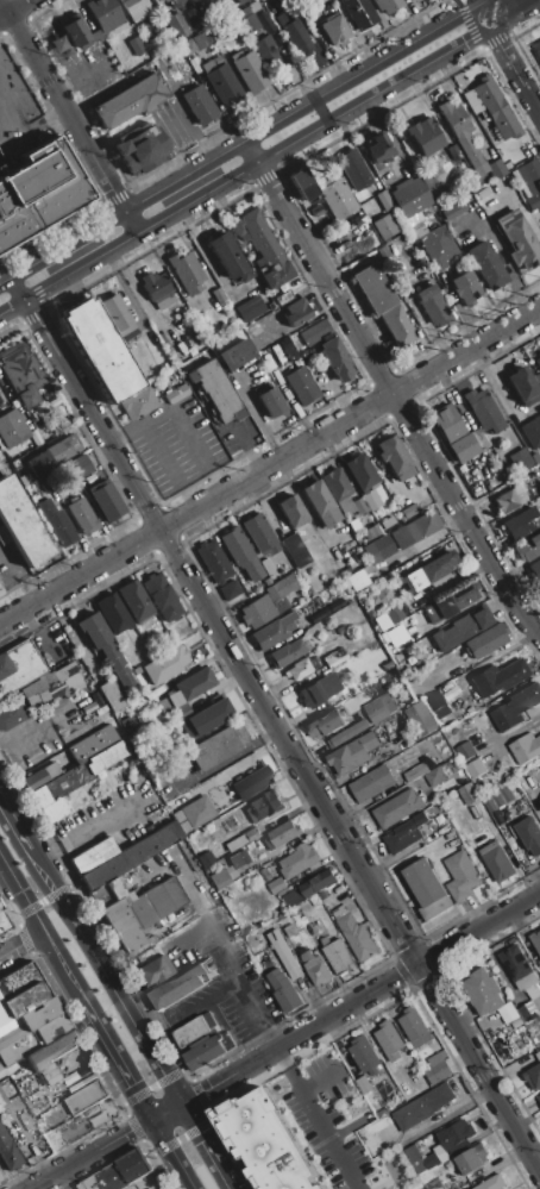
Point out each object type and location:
building: (241, 1)
building: (159, 2)
road: (498, 2)
building: (184, 4)
building: (390, 5)
building: (134, 8)
road: (18, 10)
building: (359, 13)
building: (103, 14)
building: (246, 20)
building: (177, 25)
building: (334, 31)
building: (76, 33)
building: (296, 38)
building: (196, 39)
building: (58, 46)
building: (136, 46)
building: (189, 46)
building: (538, 50)
building: (269, 52)
road: (509, 62)
building: (250, 73)
building: (221, 81)
building: (130, 101)
building: (199, 105)
building: (496, 108)
road: (68, 109)
building: (459, 132)
building: (425, 137)
building: (140, 149)
road: (253, 149)
building: (378, 150)
building: (490, 154)
building: (353, 169)
building: (495, 169)
building: (528, 182)
building: (302, 184)
building: (38, 192)
building: (337, 198)
building: (384, 200)
building: (412, 200)
building: (384, 226)
building: (517, 240)
building: (437, 244)
building: (264, 249)
building: (227, 258)
road: (504, 259)
building: (485, 265)
building: (186, 273)
building: (466, 287)
building: (157, 289)
building: (218, 296)
building: (382, 306)
building: (432, 307)
building: (250, 308)
building: (296, 313)
road: (417, 313)
building: (115, 315)
building: (314, 332)
building: (99, 350)
building: (287, 350)
building: (236, 355)
building: (334, 359)
building: (538, 362)
building: (21, 374)
building: (522, 386)
building: (301, 387)
road: (332, 389)
building: (215, 390)
road: (389, 393)
building: (176, 394)
road: (500, 395)
building: (270, 403)
building: (138, 405)
building: (483, 411)
road: (155, 419)
building: (12, 430)
building: (532, 432)
building: (453, 433)
road: (249, 445)
building: (65, 448)
building: (394, 456)
building: (535, 458)
building: (520, 459)
road: (269, 462)
building: (37, 465)
building: (79, 467)
building: (360, 473)
building: (24, 481)
building: (343, 495)
building: (510, 499)
building: (105, 500)
building: (319, 505)
building: (290, 511)
building: (409, 512)
building: (81, 515)
building: (521, 521)
building: (56, 524)
building: (387, 524)
building: (20, 525)
building: (371, 532)
building: (260, 534)
building: (402, 537)
building: (527, 549)
building: (296, 551)
building: (240, 555)
building: (538, 567)
building: (268, 568)
building: (216, 569)
building: (431, 569)
building: (357, 581)
building: (539, 586)
building: (0, 592)
building: (0, 595)
building: (162, 597)
building: (134, 602)
building: (453, 602)
building: (268, 603)
building: (113, 614)
building: (394, 615)
building: (312, 619)
building: (460, 628)
building: (341, 630)
building: (274, 632)
building: (486, 640)
building: (105, 647)
building: (287, 653)
building: (176, 657)
building: (335, 658)
building: (18, 667)
building: (387, 667)
building: (303, 668)
building: (142, 676)
building: (498, 678)
building: (50, 686)
building: (186, 689)
building: (320, 690)
building: (111, 696)
building: (438, 705)
building: (515, 706)
building: (381, 707)
building: (180, 712)
building: (11, 716)
building: (421, 718)
building: (207, 719)
building: (324, 724)
road: (281, 727)
road: (24, 732)
building: (347, 733)
building: (93, 744)
building: (218, 746)
building: (526, 747)
building: (465, 751)
building: (352, 752)
road: (218, 764)
building: (475, 769)
building: (417, 770)
building: (42, 776)
building: (435, 777)
building: (252, 782)
building: (74, 784)
building: (368, 784)
building: (469, 794)
building: (497, 796)
building: (264, 806)
building: (397, 808)
building: (193, 815)
road: (13, 827)
road: (89, 831)
building: (404, 833)
building: (282, 834)
building: (530, 836)
building: (243, 839)
building: (119, 856)
building: (206, 859)
building: (238, 859)
building: (299, 861)
building: (496, 862)
building: (268, 872)
building: (460, 875)
building: (222, 877)
building: (276, 886)
building: (427, 888)
building: (307, 891)
road: (42, 902)
building: (0, 908)
building: (140, 913)
building: (2, 924)
road: (43, 930)
building: (290, 931)
building: (354, 933)
road: (222, 938)
building: (535, 939)
road: (21, 944)
building: (284, 955)
building: (338, 955)
building: (517, 966)
building: (316, 969)
building: (153, 970)
road: (103, 977)
building: (182, 985)
building: (285, 989)
building: (483, 991)
building: (20, 993)
road: (207, 997)
building: (530, 1003)
building: (507, 1013)
building: (38, 1014)
building: (414, 1027)
building: (193, 1028)
building: (11, 1035)
building: (33, 1039)
building: (388, 1039)
road: (285, 1043)
building: (208, 1050)
building: (51, 1051)
building: (365, 1055)
building: (538, 1055)
road: (117, 1062)
building: (441, 1071)
building: (533, 1076)
traffic signals: (131, 1084)
traffic signals: (208, 1088)
building: (86, 1097)
building: (539, 1097)
building: (421, 1107)
road: (315, 1119)
building: (98, 1120)
traffic signals: (123, 1134)
building: (454, 1134)
traffic signals: (202, 1139)
building: (264, 1141)
building: (372, 1144)
road: (206, 1145)
building: (8, 1153)
road: (171, 1153)
building: (472, 1158)
building: (431, 1159)
building: (118, 1172)
building: (0, 1178)
building: (492, 1183)
building: (434, 1184)

